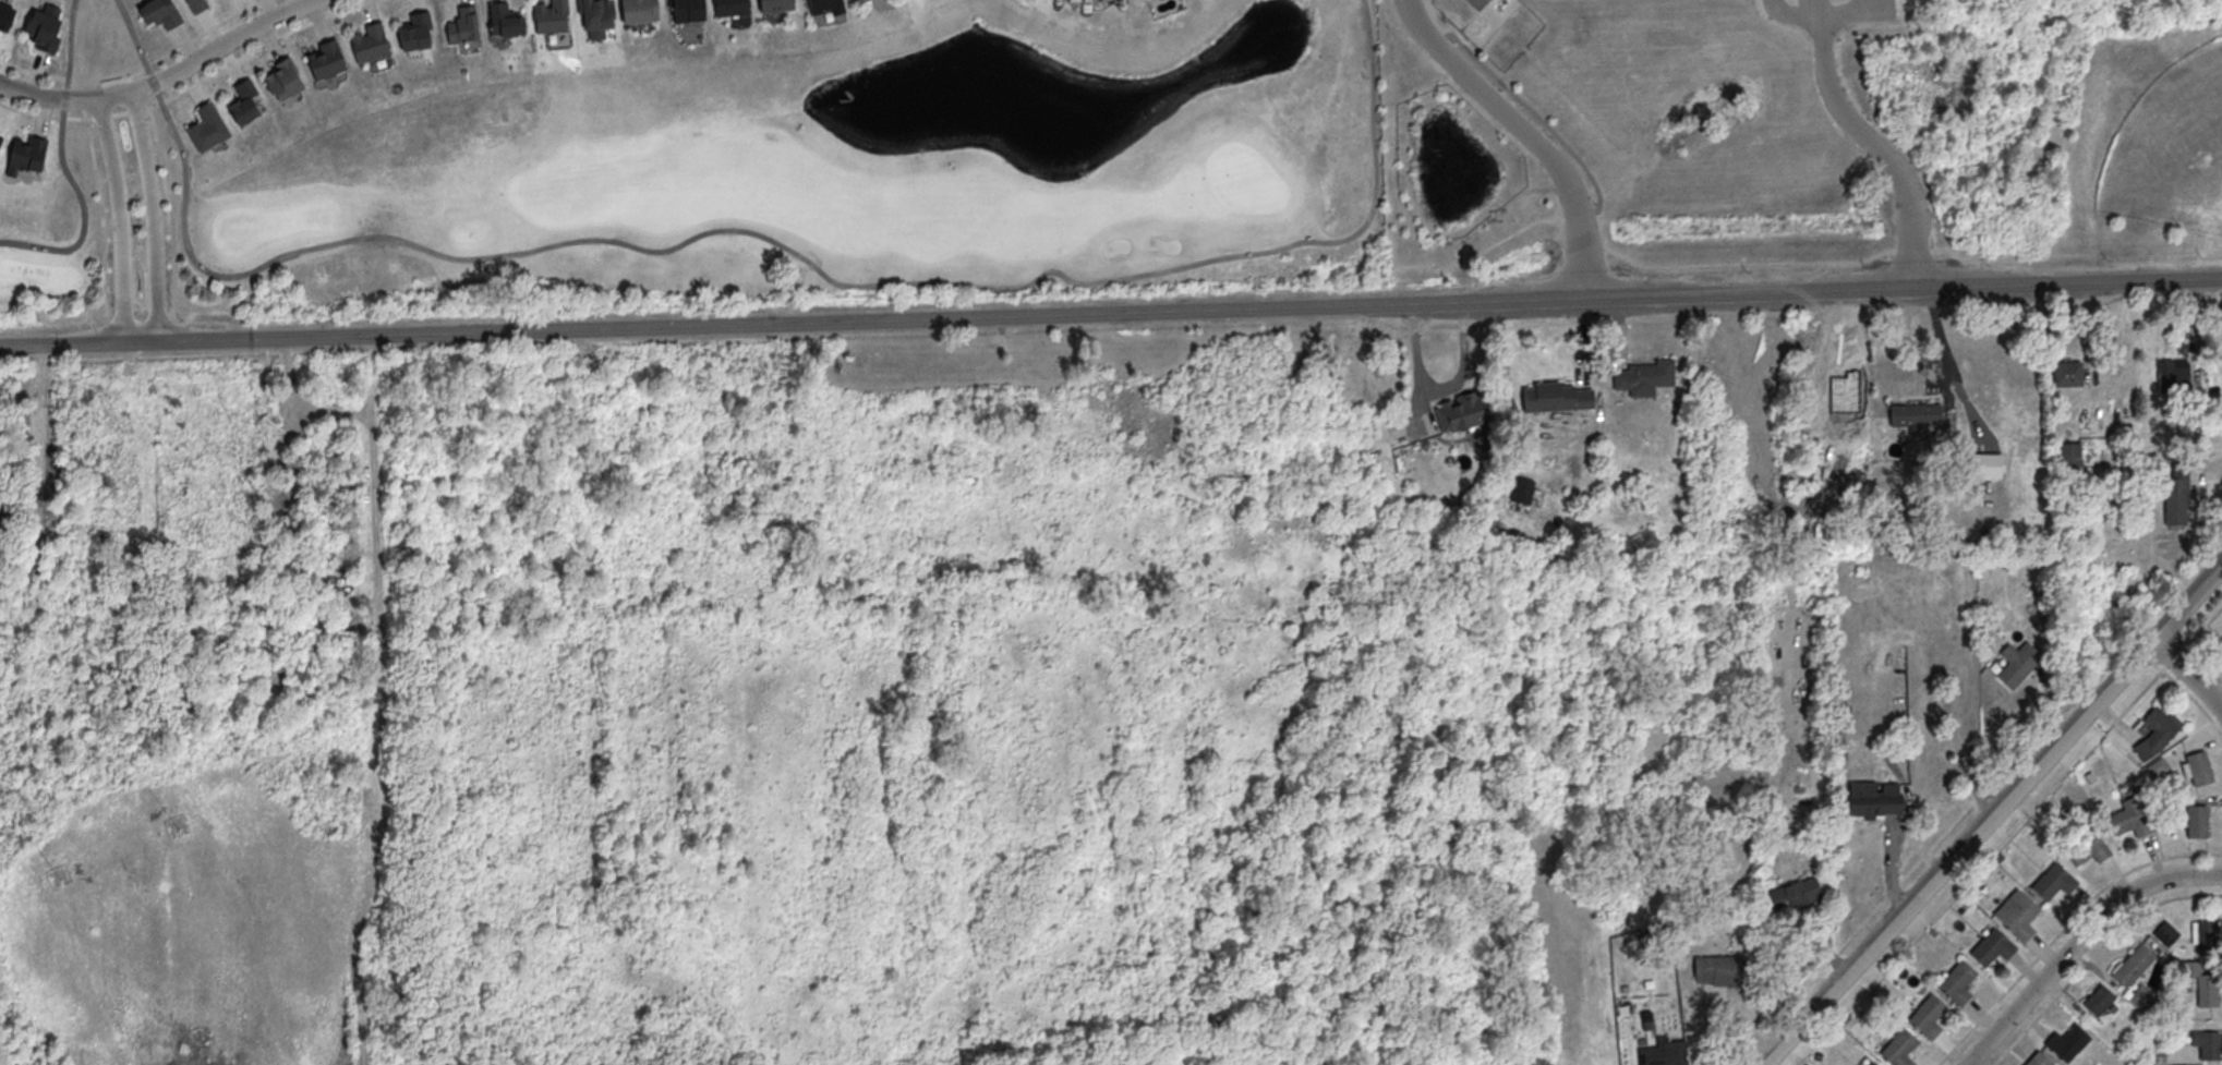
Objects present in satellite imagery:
building: (858, 0)
building: (860, 0)
parking lot: (1807, 1)
building: (195, 4)
building: (774, 4)
building: (728, 7)
building: (824, 7)
road: (1821, 9)
building: (686, 10)
building: (638, 11)
road: (1794, 11)
building: (159, 12)
building: (4, 15)
building: (550, 15)
building: (505, 17)
building: (599, 20)
road: (1823, 20)
building: (460, 23)
building: (39, 29)
building: (413, 31)
road: (204, 32)
road: (134, 41)
building: (367, 43)
road: (219, 44)
road: (258, 46)
building: (323, 59)
road: (32, 73)
building: (281, 78)
road: (63, 99)
building: (242, 100)
road: (82, 105)
road: (135, 111)
road: (120, 112)
road: (105, 116)
road: (45, 117)
building: (206, 128)
road: (1860, 131)
road: (1525, 134)
building: (0, 137)
building: (26, 155)
road: (65, 162)
park: (727, 174)
road: (170, 206)
road: (100, 210)
road: (152, 214)
road: (118, 219)
road: (798, 254)
road: (1111, 313)
road: (1942, 343)
building: (2172, 372)
building: (2066, 374)
building: (1643, 377)
road: (1439, 390)
building: (1555, 398)
building: (1461, 412)
building: (1915, 414)
building: (2068, 457)
building: (1521, 491)
building: (2175, 495)
building: (2221, 639)
building: (2221, 640)
road: (2205, 655)
road: (2146, 656)
building: (2017, 664)
road: (2163, 668)
road: (2188, 668)
road: (2190, 697)
building: (2154, 733)
building: (2198, 767)
building: (1869, 799)
road: (1992, 813)
building: (2128, 818)
building: (2196, 822)
building: (2087, 847)
building: (2052, 882)
building: (1794, 894)
building: (2016, 913)
road: (2063, 929)
building: (2164, 933)
building: (2207, 937)
road: (2078, 941)
building: (1991, 948)
road: (2093, 955)
building: (2132, 966)
building: (1719, 970)
building: (1957, 982)
building: (2206, 990)
building: (2140, 999)
building: (2097, 1001)
building: (1927, 1016)
building: (2066, 1043)
building: (2209, 1046)
building: (1898, 1048)
building: (1663, 1053)
building: (2037, 1060)
building: (1871, 1064)

